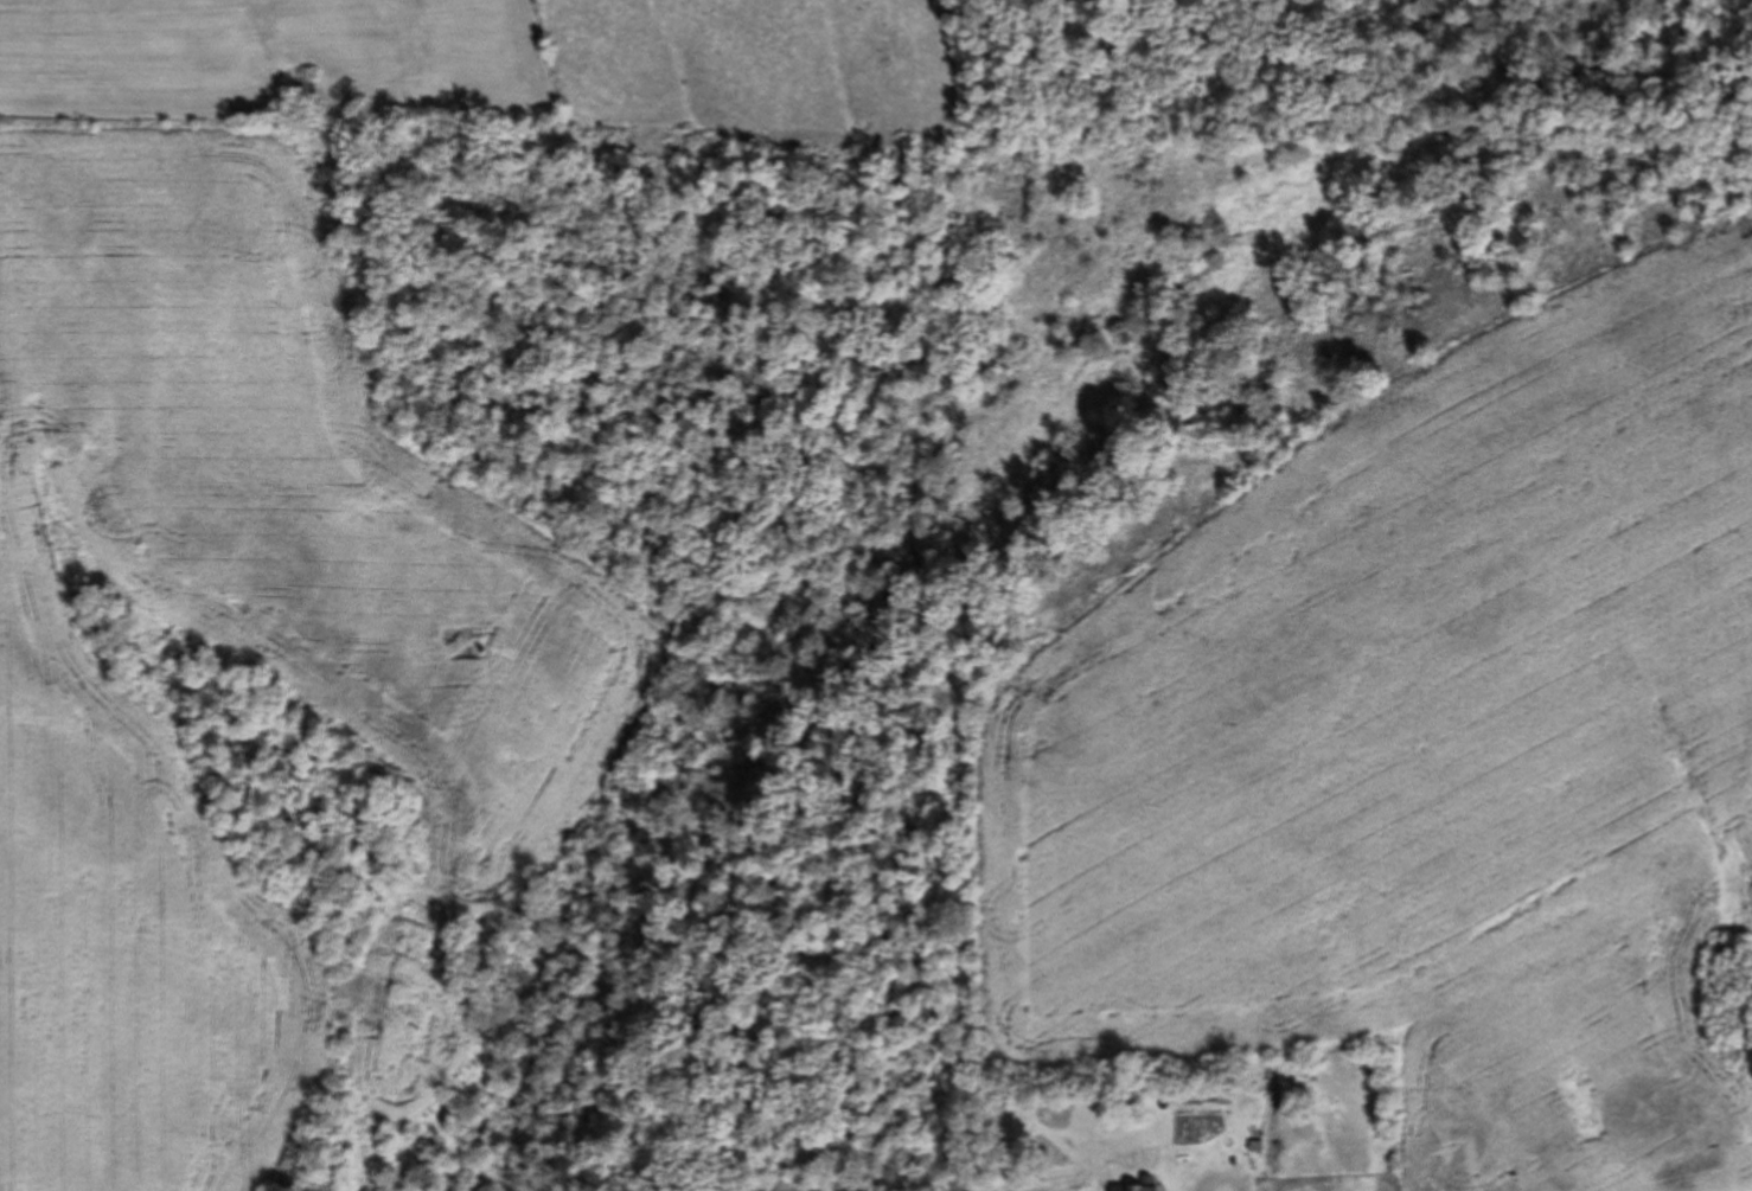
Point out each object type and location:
building: (1131, 1189)

